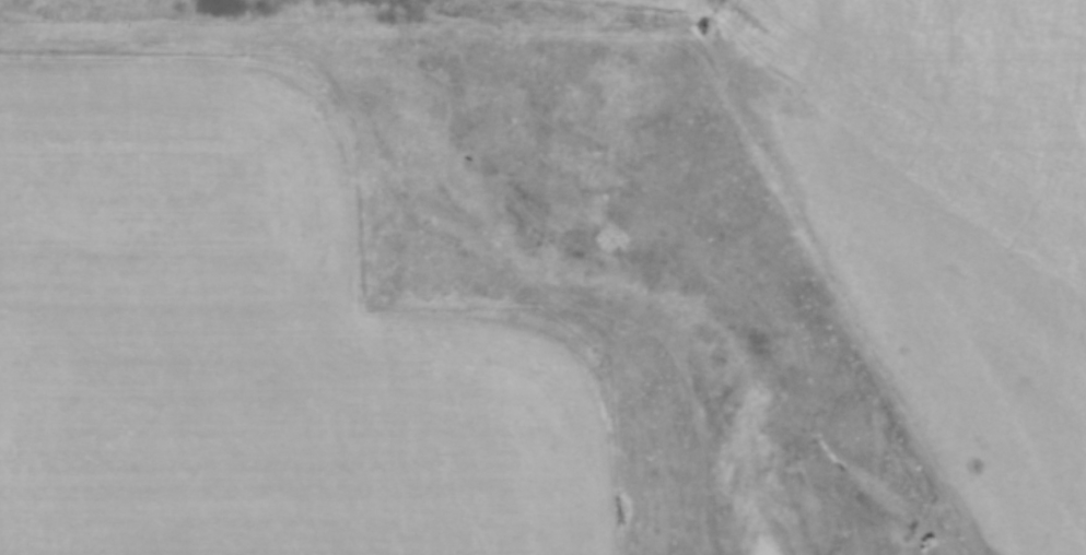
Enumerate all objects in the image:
crop: (911, 204)
crop: (254, 340)

